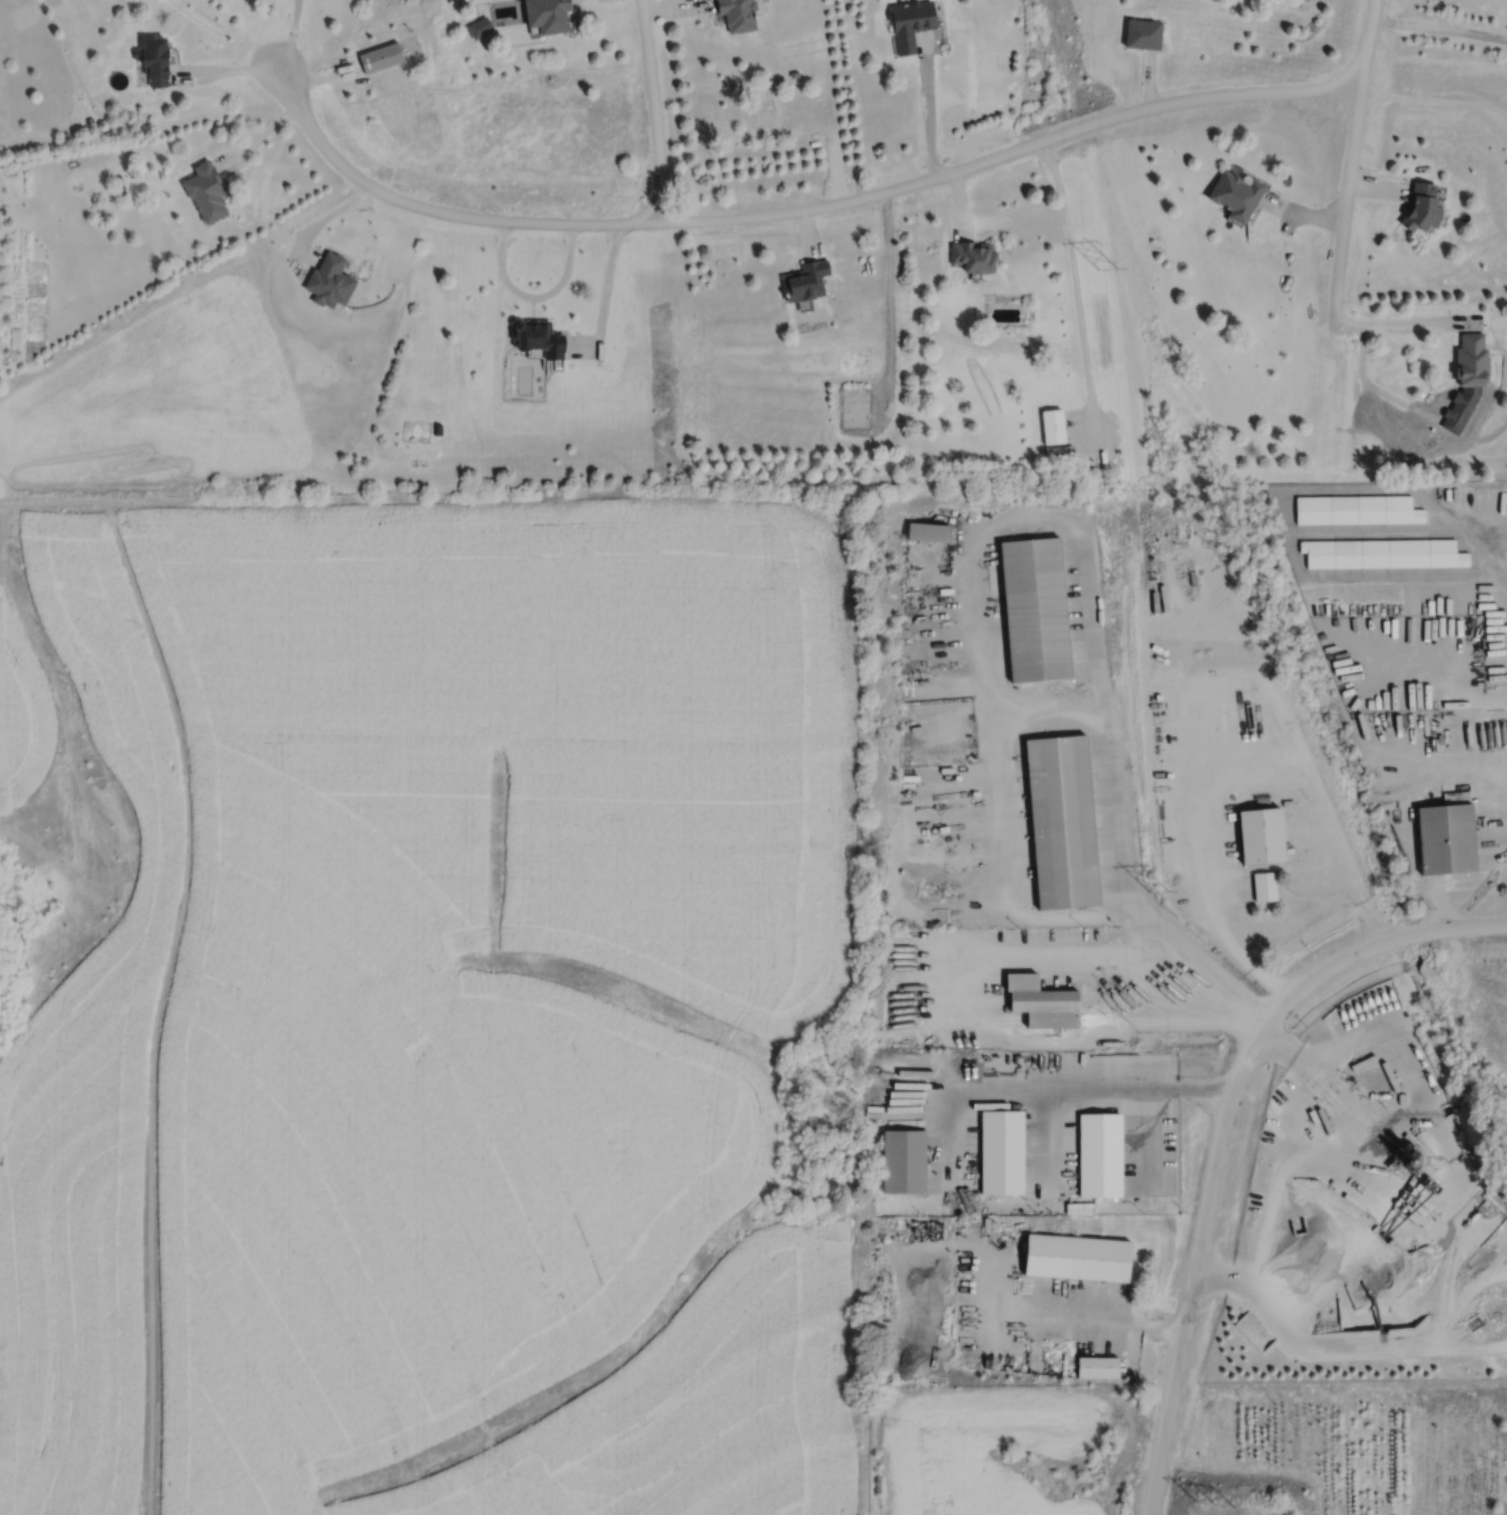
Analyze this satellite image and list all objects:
road: (677, 7)
building: (736, 14)
building: (547, 15)
building: (910, 23)
road: (1439, 28)
road: (290, 33)
building: (1141, 33)
building: (380, 57)
building: (154, 60)
road: (225, 70)
road: (322, 77)
road: (1147, 80)
road: (1435, 99)
road: (927, 107)
road: (654, 110)
road: (258, 135)
road: (1010, 150)
road: (837, 165)
road: (1349, 167)
road: (1376, 187)
building: (206, 192)
building: (1235, 196)
road: (958, 202)
building: (1422, 204)
building: (2, 210)
road: (435, 210)
road: (1302, 213)
road: (322, 219)
road: (806, 231)
building: (975, 253)
building: (330, 279)
building: (805, 279)
power tower: (1123, 280)
road: (1076, 295)
road: (532, 296)
road: (604, 297)
road: (1406, 320)
building: (539, 335)
building: (1472, 358)
building: (855, 406)
building: (1054, 424)
building: (444, 429)
building: (1356, 508)
building: (927, 530)
road: (1472, 534)
building: (1382, 552)
building: (1035, 609)
building: (1261, 700)
road: (1405, 806)
road: (1115, 816)
building: (1063, 823)
building: (1260, 836)
building: (1446, 839)
building: (1264, 887)
power tower: (1165, 894)
road: (1224, 928)
road: (1388, 937)
building: (1040, 999)
road: (963, 1005)
building: (883, 1071)
road: (1093, 1090)
building: (1401, 1096)
building: (1000, 1150)
building: (1099, 1153)
building: (901, 1159)
road: (1296, 1181)
road: (1198, 1249)
building: (1075, 1257)
road: (1092, 1316)
building: (1097, 1367)
power tower: (1214, 1505)

